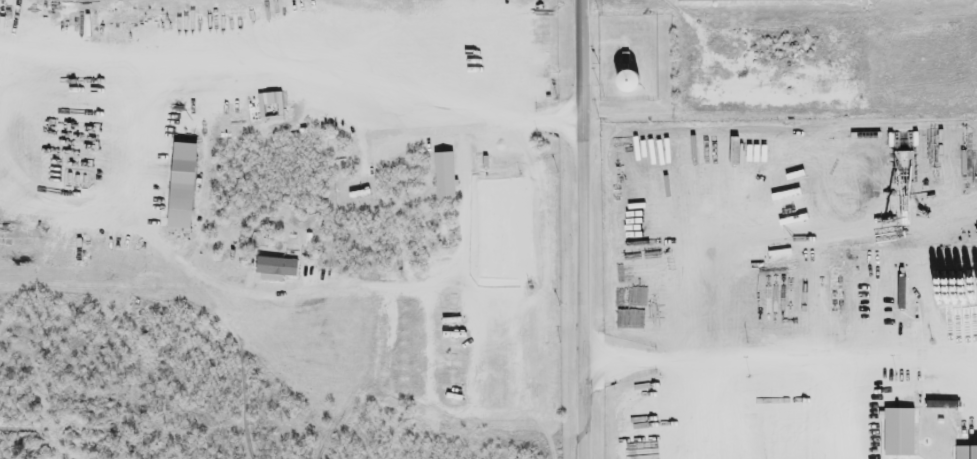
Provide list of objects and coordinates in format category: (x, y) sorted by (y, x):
building: (713, 0)
building: (788, 1)
road: (63, 57)
road: (583, 60)
building: (622, 83)
road: (125, 165)
building: (350, 198)
road: (532, 220)
road: (586, 289)
road: (781, 363)
road: (707, 410)

